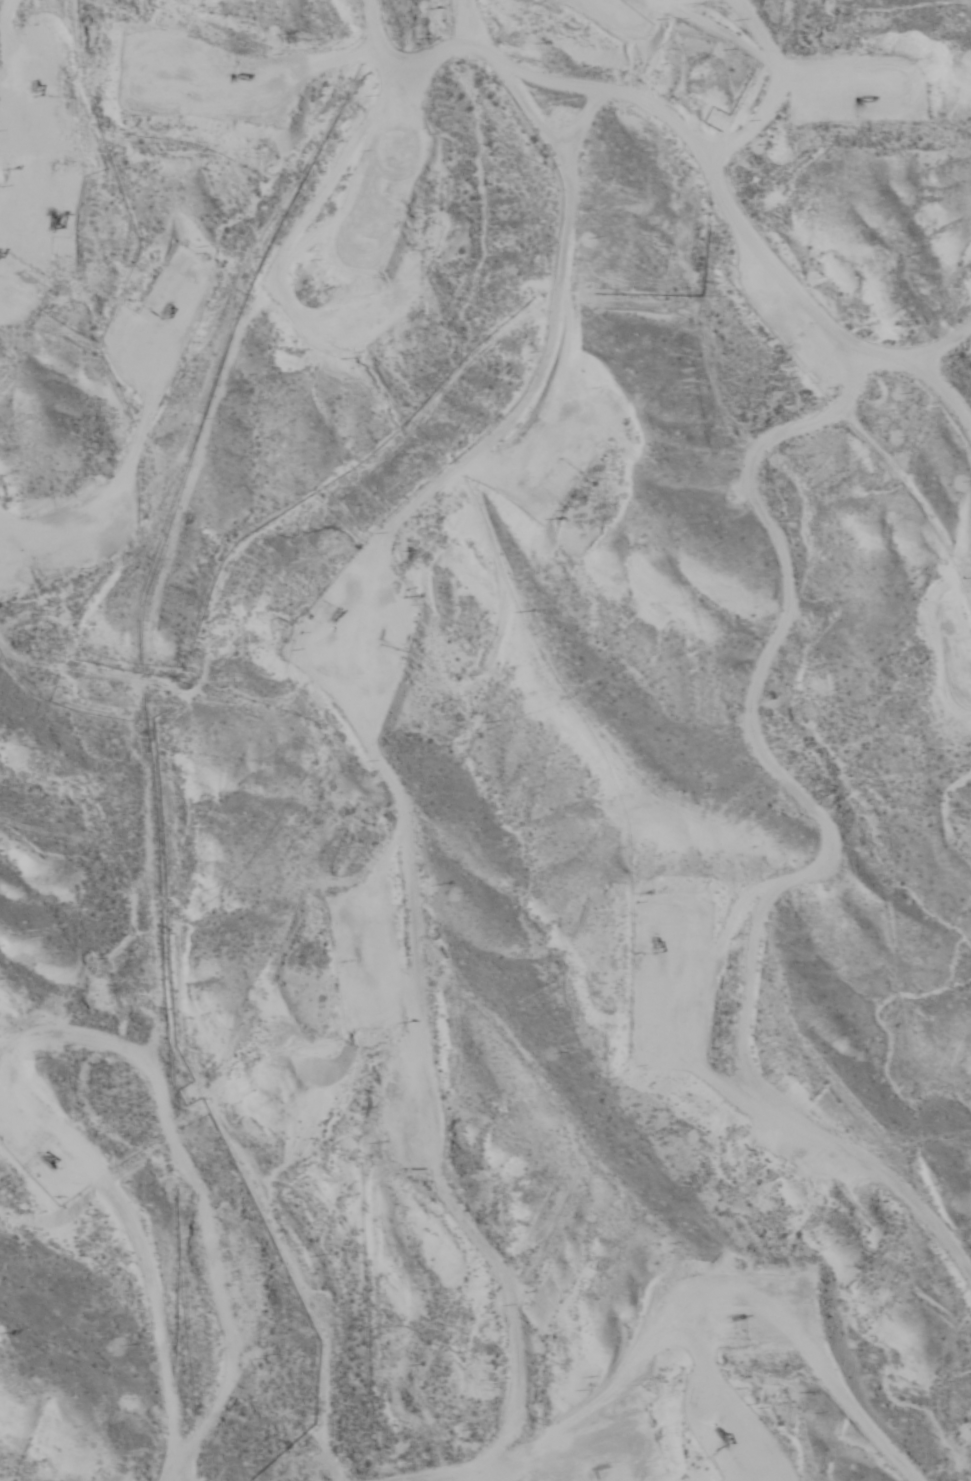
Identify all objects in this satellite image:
road: (37, 57)
road: (245, 117)
road: (623, 121)
road: (13, 164)
road: (783, 207)
road: (402, 822)
road: (671, 825)
road: (467, 1262)

